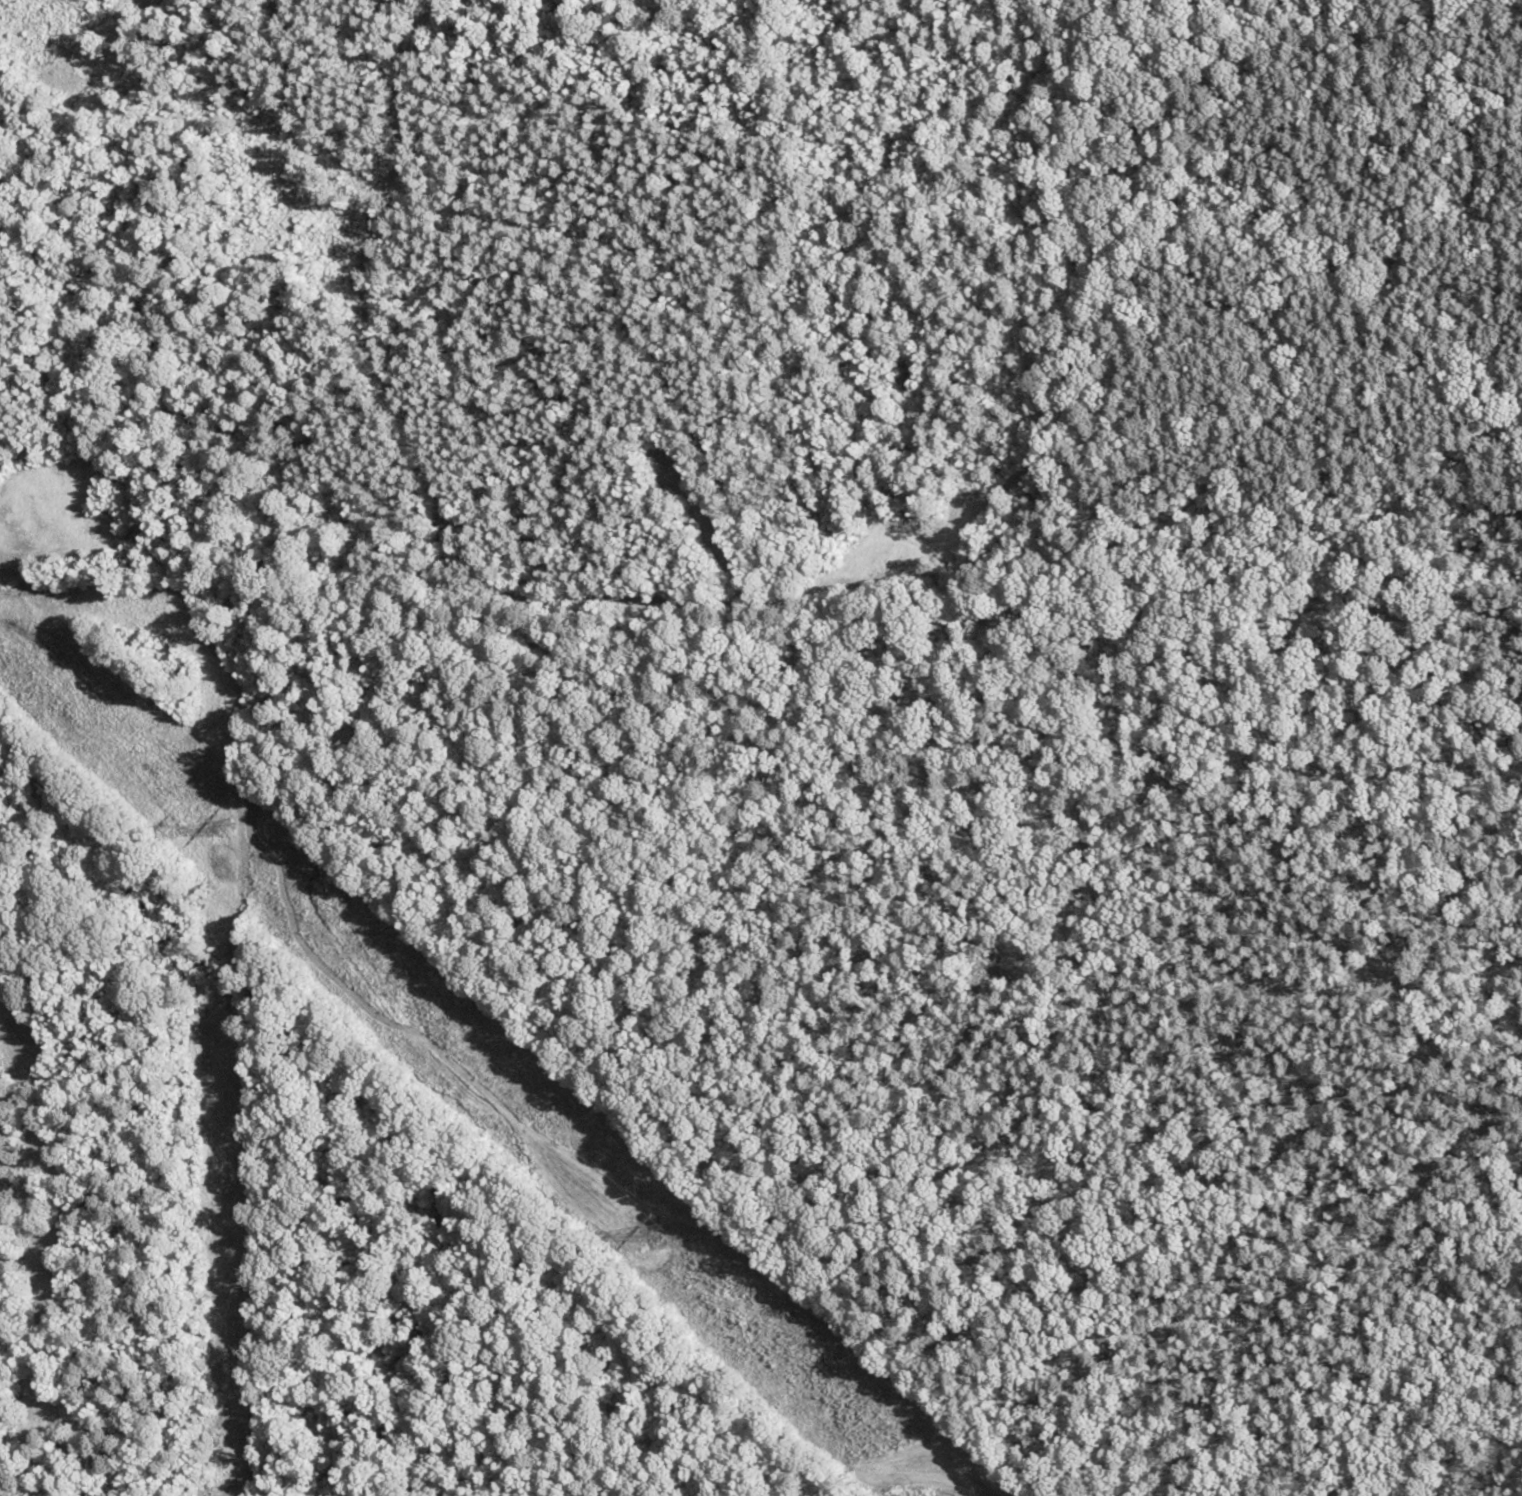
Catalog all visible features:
power tower: (231, 828)
power tower: (661, 1234)

